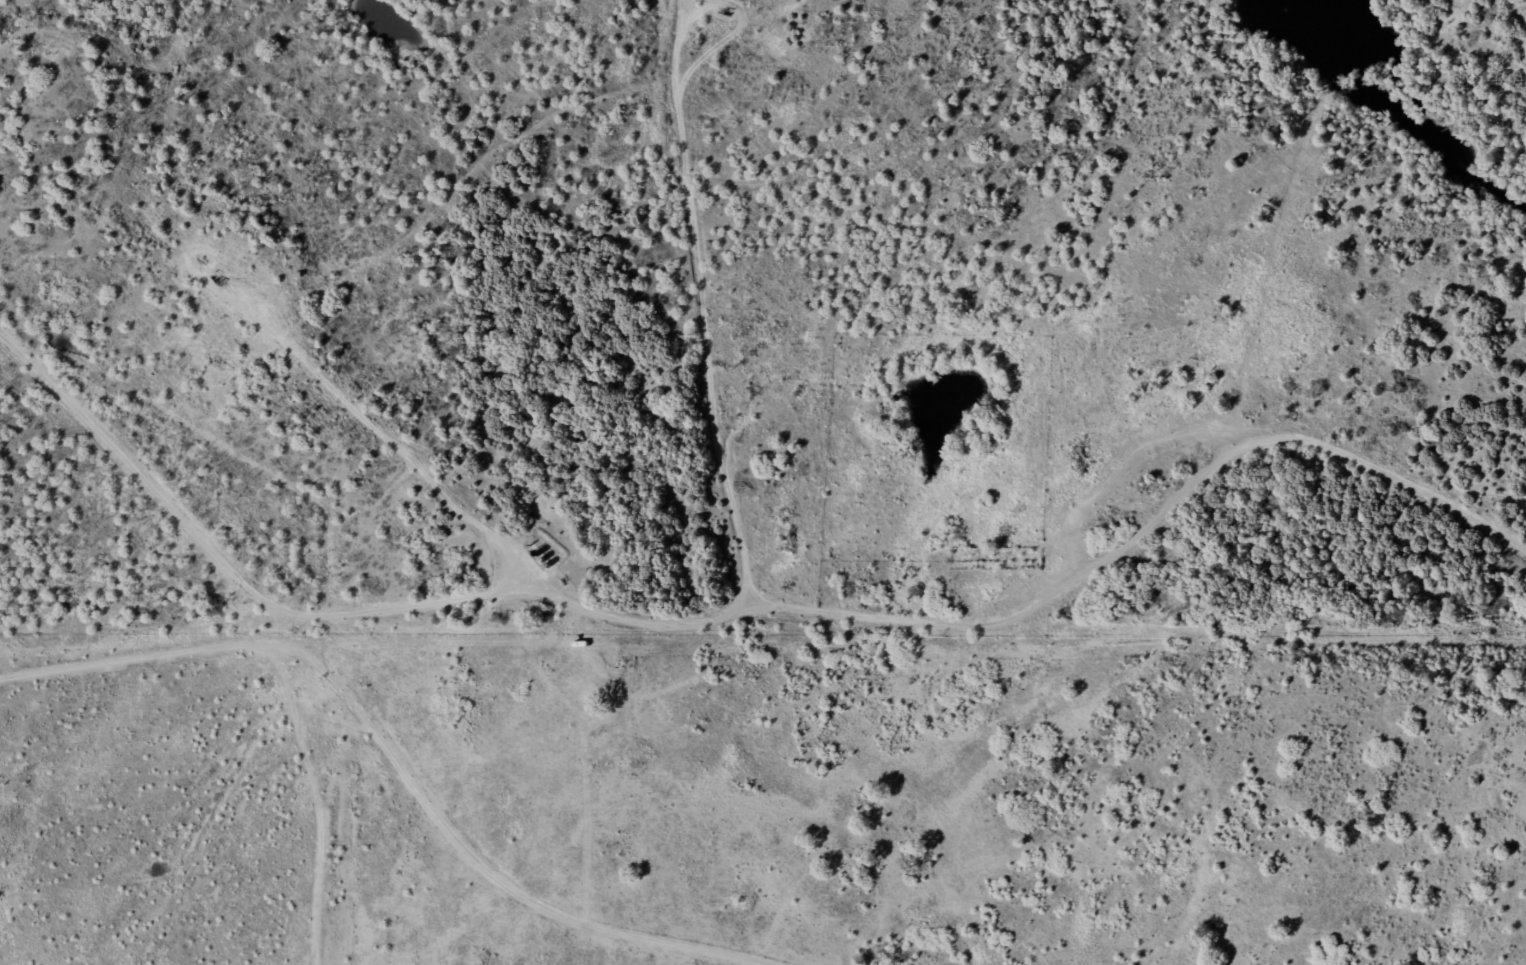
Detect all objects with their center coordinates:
road: (103, 52)
road: (702, 303)
road: (149, 475)
road: (710, 624)
road: (376, 743)

